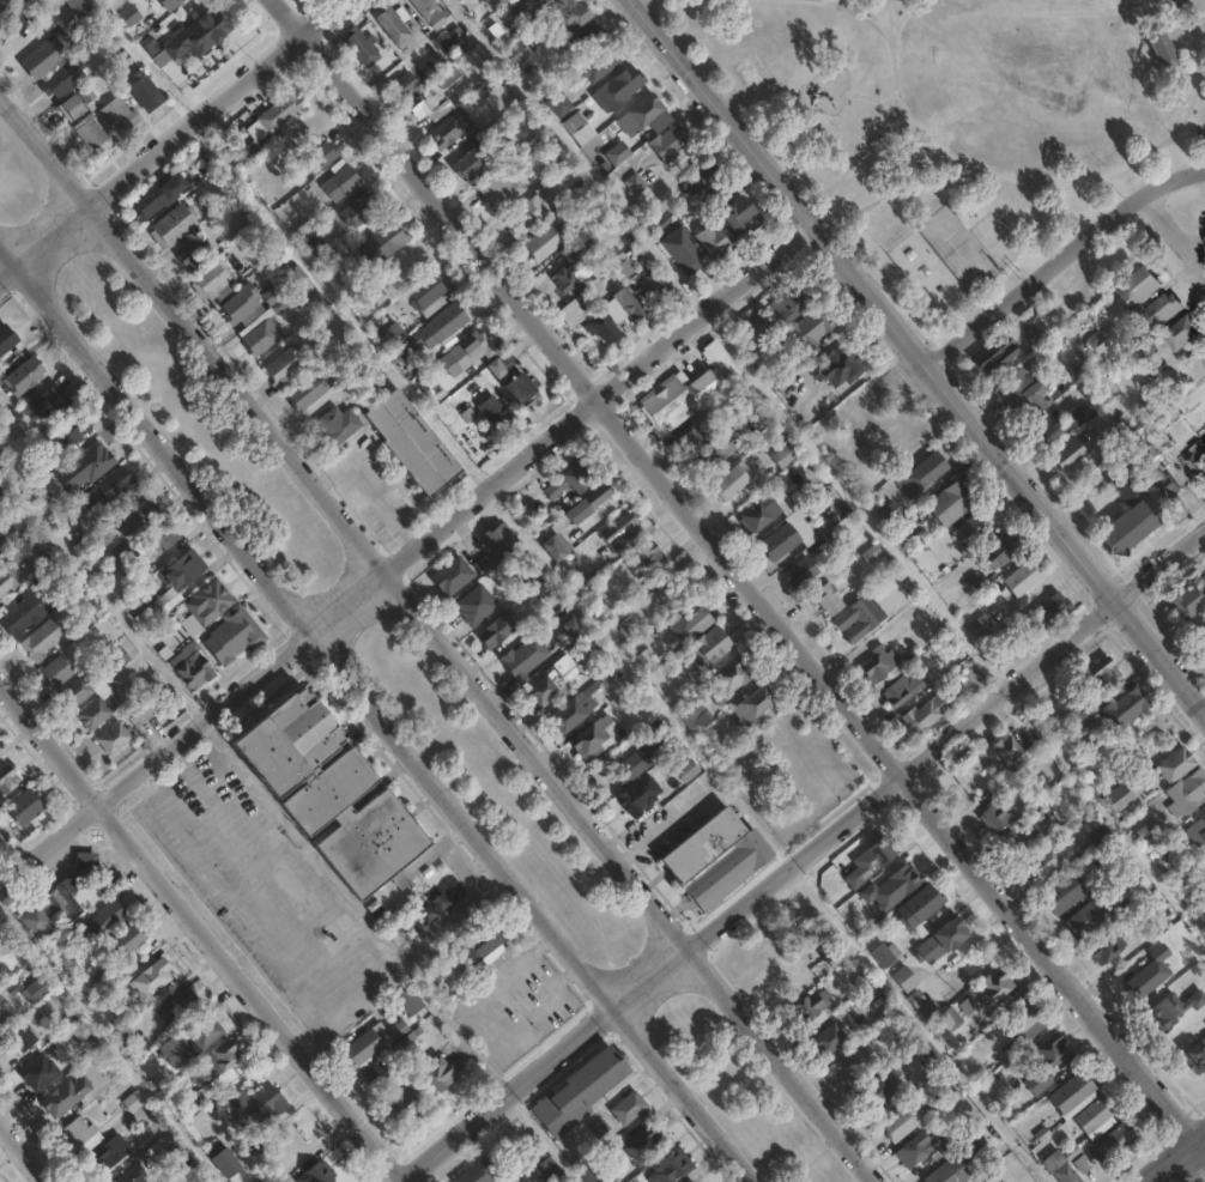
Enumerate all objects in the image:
building: (563, 0)
road: (1, 1)
building: (115, 4)
building: (170, 4)
building: (79, 7)
building: (528, 7)
building: (431, 11)
building: (129, 16)
building: (569, 17)
building: (205, 30)
building: (396, 31)
building: (592, 35)
building: (450, 40)
building: (151, 42)
building: (1161, 48)
building: (519, 51)
building: (371, 53)
building: (42, 59)
building: (599, 63)
building: (447, 77)
building: (62, 78)
building: (405, 86)
building: (619, 89)
building: (147, 92)
building: (508, 99)
road: (217, 101)
building: (559, 103)
building: (71, 108)
building: (418, 109)
building: (642, 114)
building: (120, 115)
building: (274, 116)
park: (957, 123)
building: (579, 128)
building: (450, 129)
building: (89, 132)
building: (670, 143)
road: (46, 150)
building: (619, 152)
building: (320, 158)
building: (474, 162)
building: (701, 178)
building: (340, 181)
building: (636, 183)
building: (501, 190)
building: (159, 196)
building: (678, 200)
building: (361, 210)
building: (531, 211)
building: (739, 216)
building: (172, 225)
road: (1175, 230)
road: (52, 234)
road: (1195, 237)
park: (994, 240)
building: (714, 241)
building: (313, 242)
building: (383, 242)
building: (544, 242)
park: (955, 249)
building: (577, 250)
building: (684, 250)
building: (194, 255)
road: (6, 256)
road: (1060, 261)
road: (6, 269)
park: (925, 274)
building: (569, 279)
building: (212, 281)
building: (655, 284)
building: (1140, 289)
building: (275, 292)
building: (428, 295)
road: (872, 299)
building: (792, 301)
building: (630, 304)
building: (1163, 311)
building: (252, 321)
building: (447, 321)
building: (591, 322)
building: (753, 329)
building: (809, 329)
building: (1183, 333)
building: (390, 335)
building: (6, 340)
building: (1046, 343)
building: (465, 354)
building: (997, 354)
building: (286, 365)
building: (842, 369)
building: (370, 372)
building: (22, 377)
building: (1021, 388)
building: (309, 390)
building: (688, 390)
building: (523, 393)
building: (50, 402)
building: (497, 411)
building: (1080, 414)
building: (1049, 423)
building: (337, 426)
building: (69, 430)
building: (690, 440)
building: (413, 443)
building: (898, 444)
building: (1076, 450)
building: (1149, 451)
building: (716, 453)
building: (785, 455)
building: (1198, 456)
building: (90, 465)
building: (928, 473)
building: (574, 479)
building: (733, 481)
building: (113, 484)
building: (1162, 484)
building: (592, 503)
building: (952, 504)
building: (892, 511)
building: (768, 513)
building: (1133, 513)
building: (137, 514)
building: (794, 531)
building: (973, 531)
building: (622, 533)
building: (499, 540)
building: (162, 542)
building: (1, 544)
building: (558, 550)
building: (1000, 551)
building: (0, 552)
building: (49, 553)
road: (407, 554)
building: (646, 562)
road: (1159, 563)
building: (485, 564)
road: (739, 571)
building: (804, 576)
building: (453, 577)
building: (7, 578)
building: (1025, 578)
building: (171, 587)
building: (659, 587)
building: (886, 587)
road: (101, 594)
building: (551, 594)
building: (594, 595)
building: (828, 599)
building: (208, 602)
building: (0, 604)
building: (1195, 605)
building: (477, 606)
building: (24, 612)
building: (1052, 612)
building: (689, 617)
building: (864, 618)
building: (982, 625)
building: (498, 630)
building: (1200, 630)
building: (571, 632)
building: (618, 632)
building: (234, 635)
building: (42, 641)
building: (712, 644)
road: (1159, 655)
building: (117, 659)
building: (525, 659)
building: (192, 663)
building: (884, 666)
building: (1107, 671)
building: (57, 672)
building: (732, 673)
building: (968, 673)
park: (404, 677)
building: (907, 687)
building: (546, 689)
road: (484, 691)
building: (104, 702)
building: (756, 703)
building: (1126, 705)
building: (575, 708)
building: (138, 715)
building: (695, 715)
building: (925, 716)
road: (380, 723)
building: (593, 737)
building: (114, 739)
building: (285, 740)
building: (721, 746)
building: (1010, 747)
building: (653, 752)
road: (180, 762)
building: (1177, 763)
building: (688, 770)
building: (7, 778)
road: (176, 787)
building: (1187, 793)
building: (640, 794)
building: (1121, 796)
building: (25, 805)
building: (998, 816)
building: (355, 824)
building: (1197, 831)
building: (1149, 834)
building: (1021, 838)
building: (4, 839)
building: (712, 856)
building: (862, 860)
building: (1048, 860)
building: (86, 861)
building: (906, 874)
parking lot: (262, 887)
road: (756, 890)
building: (1065, 893)
road: (344, 896)
building: (59, 903)
building: (922, 909)
building: (1201, 909)
building: (110, 914)
road: (243, 916)
building: (1089, 921)
road: (201, 931)
building: (127, 939)
building: (944, 940)
building: (483, 945)
building: (1108, 946)
building: (838, 953)
building: (888, 953)
building: (1134, 974)
building: (149, 977)
road: (410, 978)
building: (907, 978)
building: (38, 988)
building: (868, 988)
building: (998, 988)
building: (411, 1000)
building: (925, 1002)
parking lot: (513, 1004)
building: (1158, 1005)
building: (181, 1007)
building: (807, 1008)
building: (2, 1013)
building: (951, 1019)
building: (1025, 1022)
building: (1188, 1029)
building: (395, 1030)
building: (20, 1037)
building: (832, 1037)
building: (189, 1043)
building: (365, 1044)
road: (108, 1045)
building: (927, 1056)
building: (1048, 1060)
building: (224, 1063)
building: (854, 1063)
building: (434, 1069)
building: (38, 1072)
building: (375, 1072)
building: (879, 1089)
building: (575, 1091)
building: (1076, 1093)
building: (65, 1096)
building: (189, 1099)
building: (133, 1101)
building: (255, 1105)
building: (402, 1107)
building: (630, 1108)
building: (1097, 1117)
building: (904, 1121)
building: (80, 1133)
building: (1116, 1142)
building: (643, 1145)
building: (918, 1148)
road: (23, 1152)
building: (108, 1153)
building: (1053, 1158)
building: (180, 1159)
road: (1180, 1162)
building: (229, 1166)
building: (672, 1166)
building: (551, 1170)
building: (951, 1171)
building: (317, 1172)
building: (479, 1172)
building: (1067, 1172)
building: (131, 1174)
building: (593, 1174)
building: (1012, 1180)
building: (691, 1181)
building: (998, 1181)

